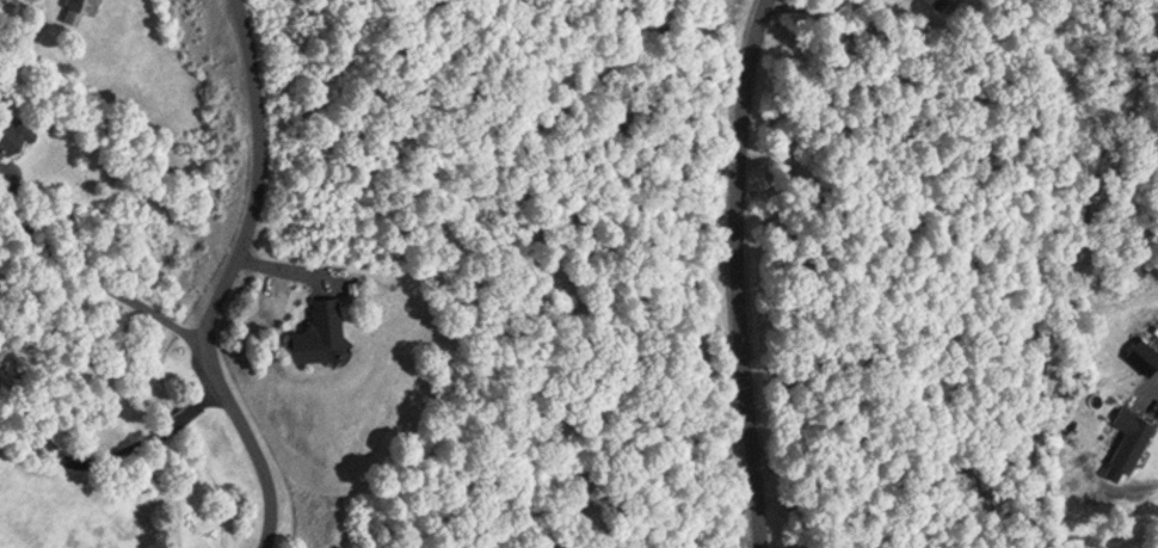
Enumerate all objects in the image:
road: (793, 6)
building: (75, 7)
building: (13, 131)
road: (737, 272)
road: (222, 282)
road: (93, 285)
building: (316, 327)
building: (1140, 357)
road: (212, 388)
road: (179, 413)
road: (53, 435)
building: (1127, 437)

